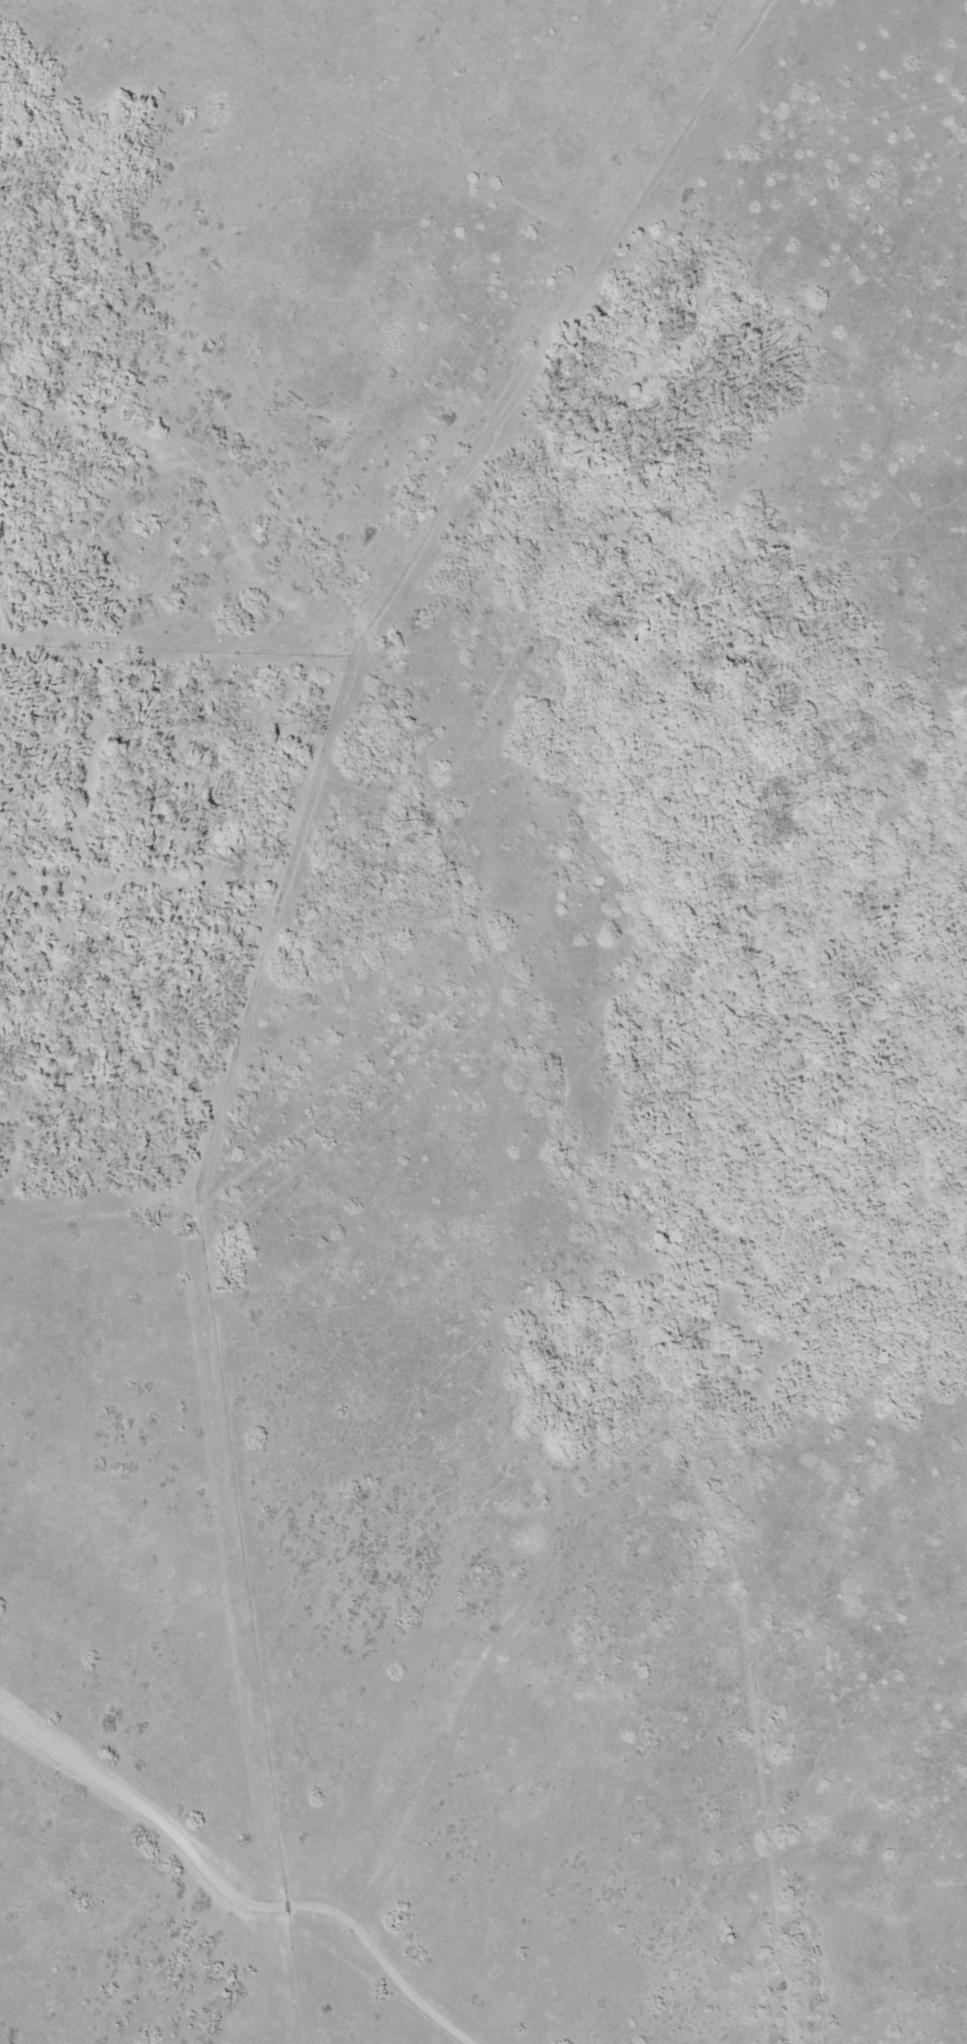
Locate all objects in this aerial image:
road: (227, 1888)

